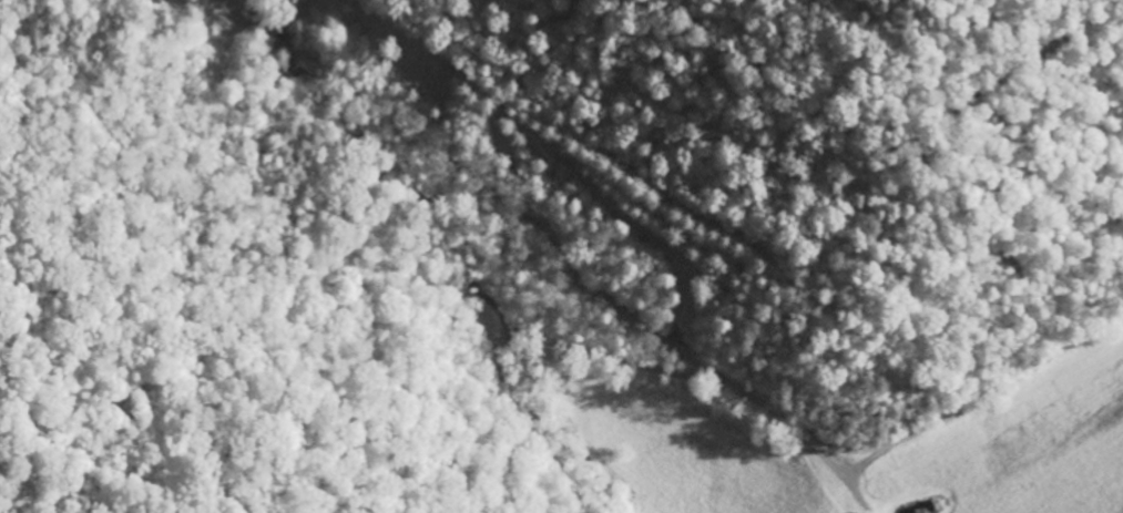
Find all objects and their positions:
road: (854, 204)
road: (1041, 379)

